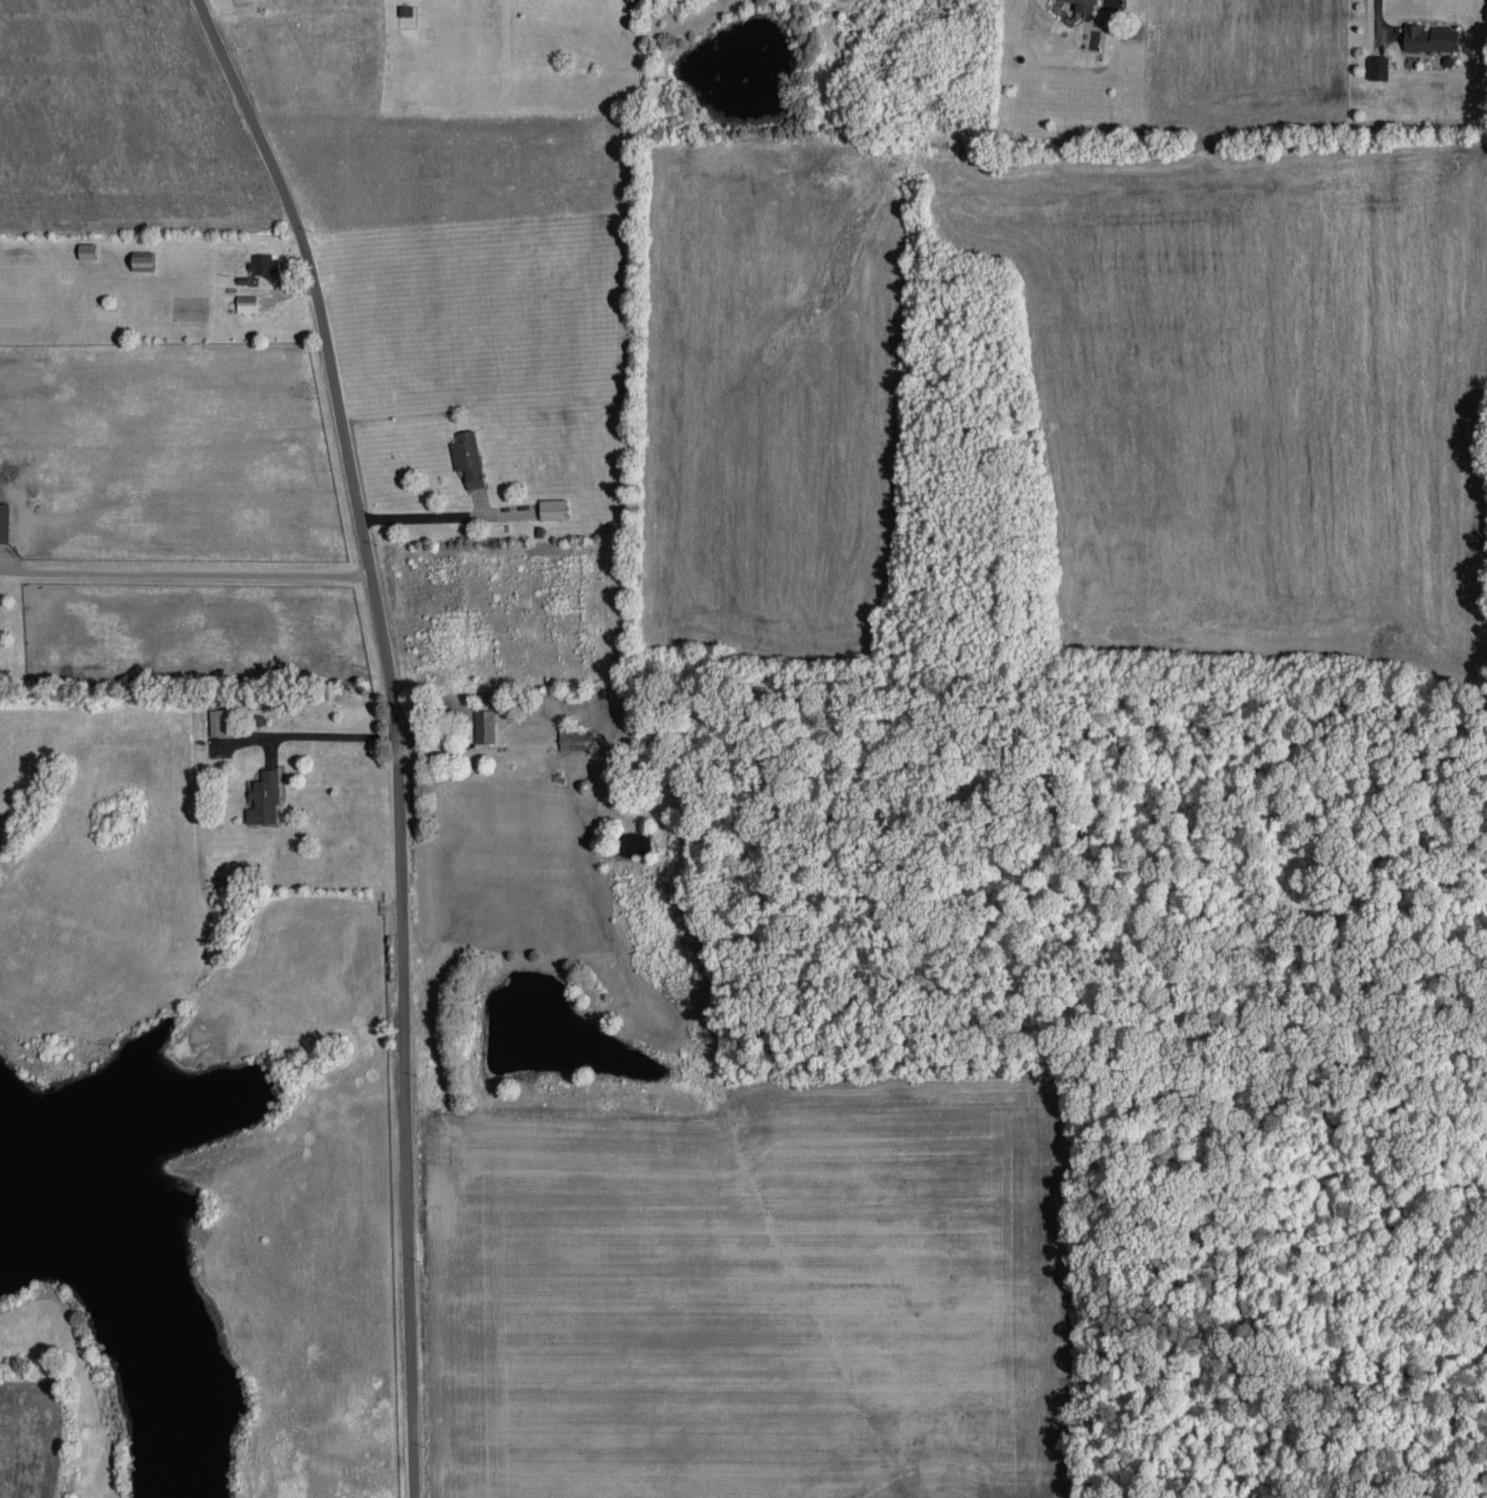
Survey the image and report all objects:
building: (1085, 4)
building: (1430, 36)
building: (1377, 64)
building: (86, 248)
building: (262, 262)
building: (245, 301)
building: (467, 456)
building: (552, 507)
building: (3, 520)
building: (219, 720)
building: (483, 724)
road: (394, 733)
building: (575, 738)
building: (263, 796)

